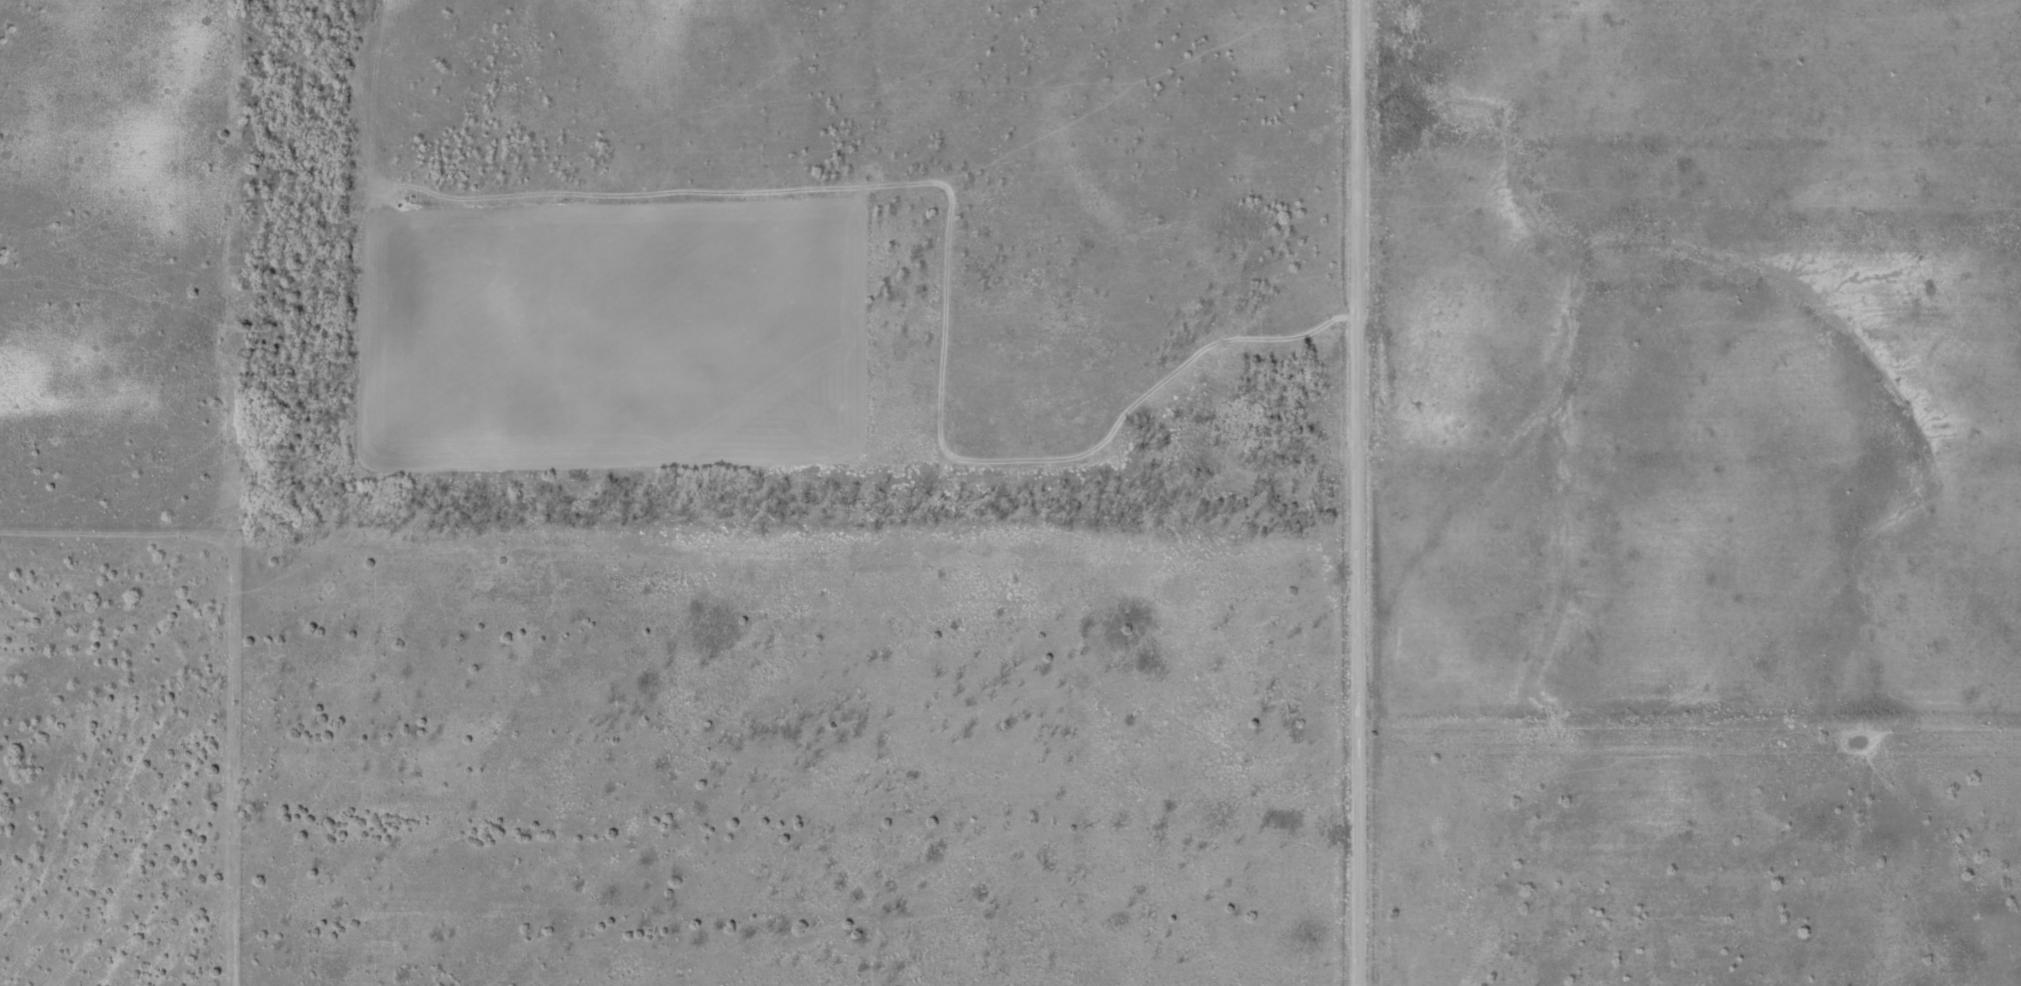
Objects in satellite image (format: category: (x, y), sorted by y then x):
road: (1352, 493)

